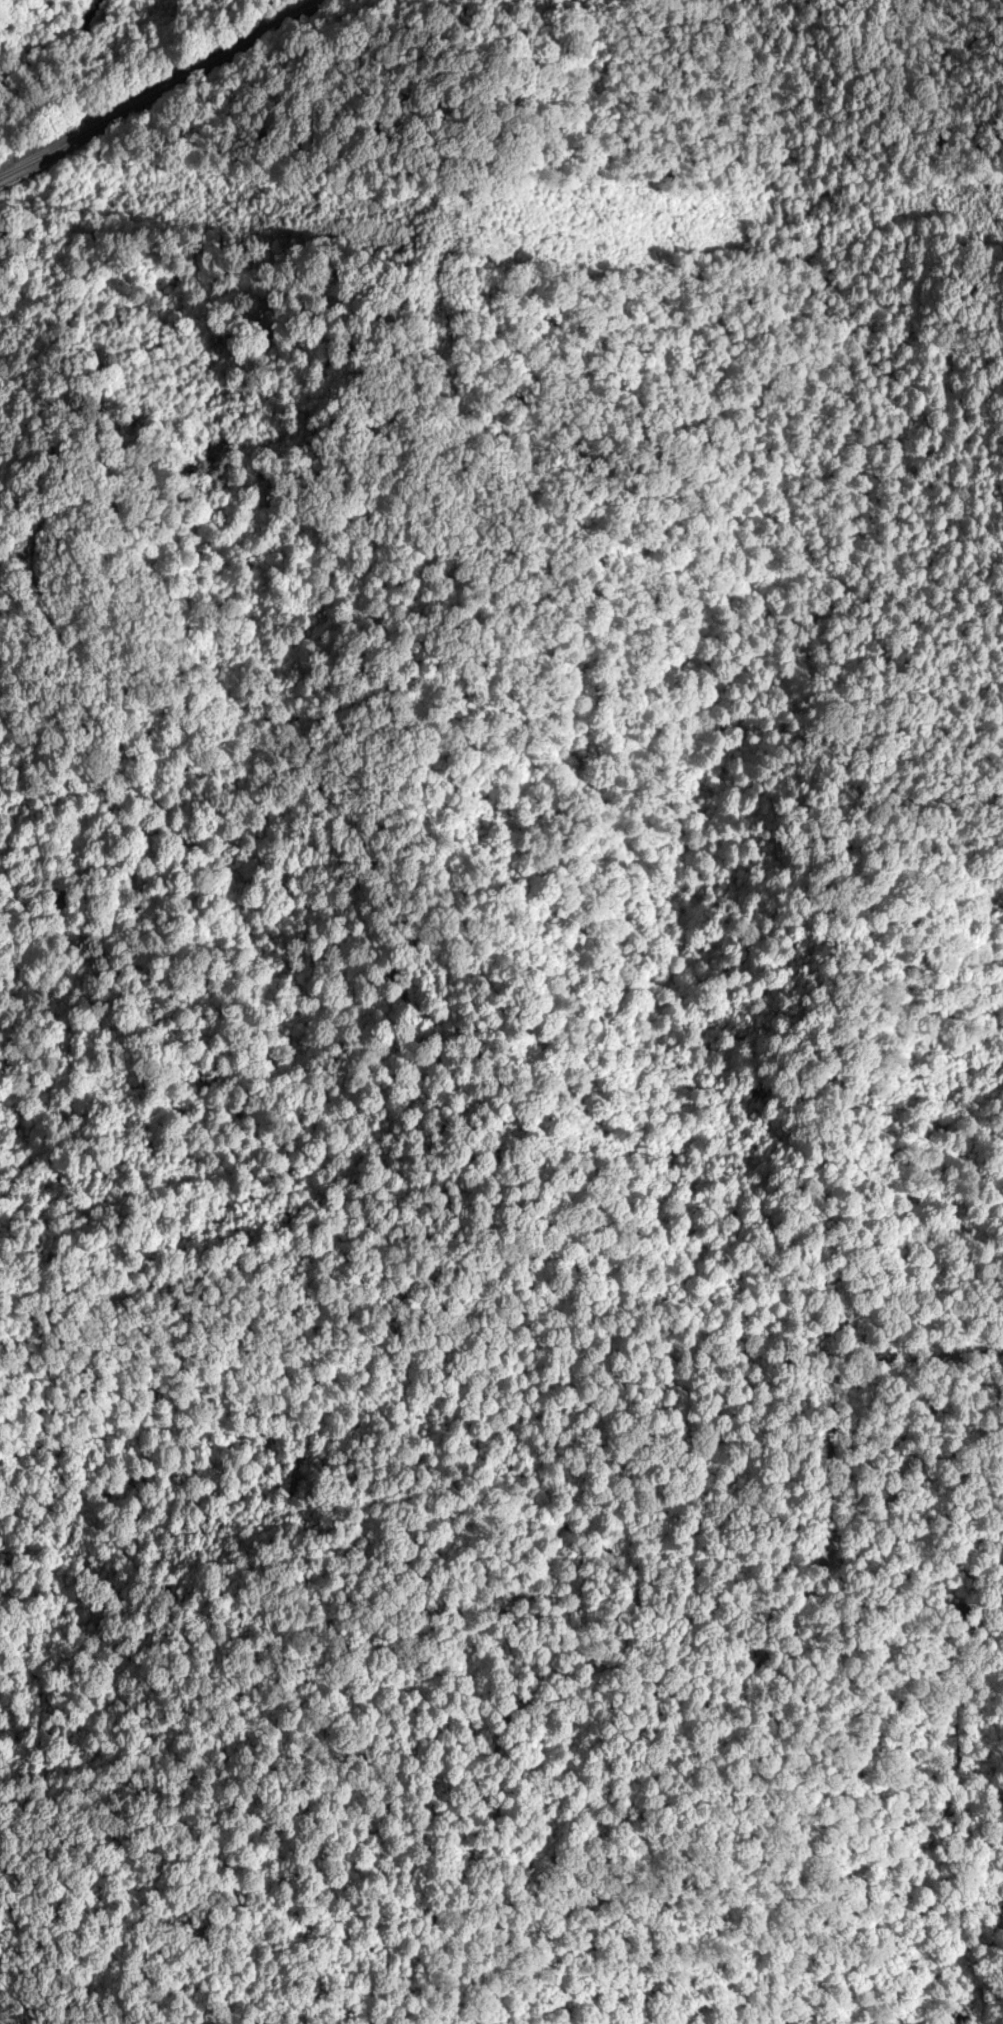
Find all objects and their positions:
railway: (170, 87)

